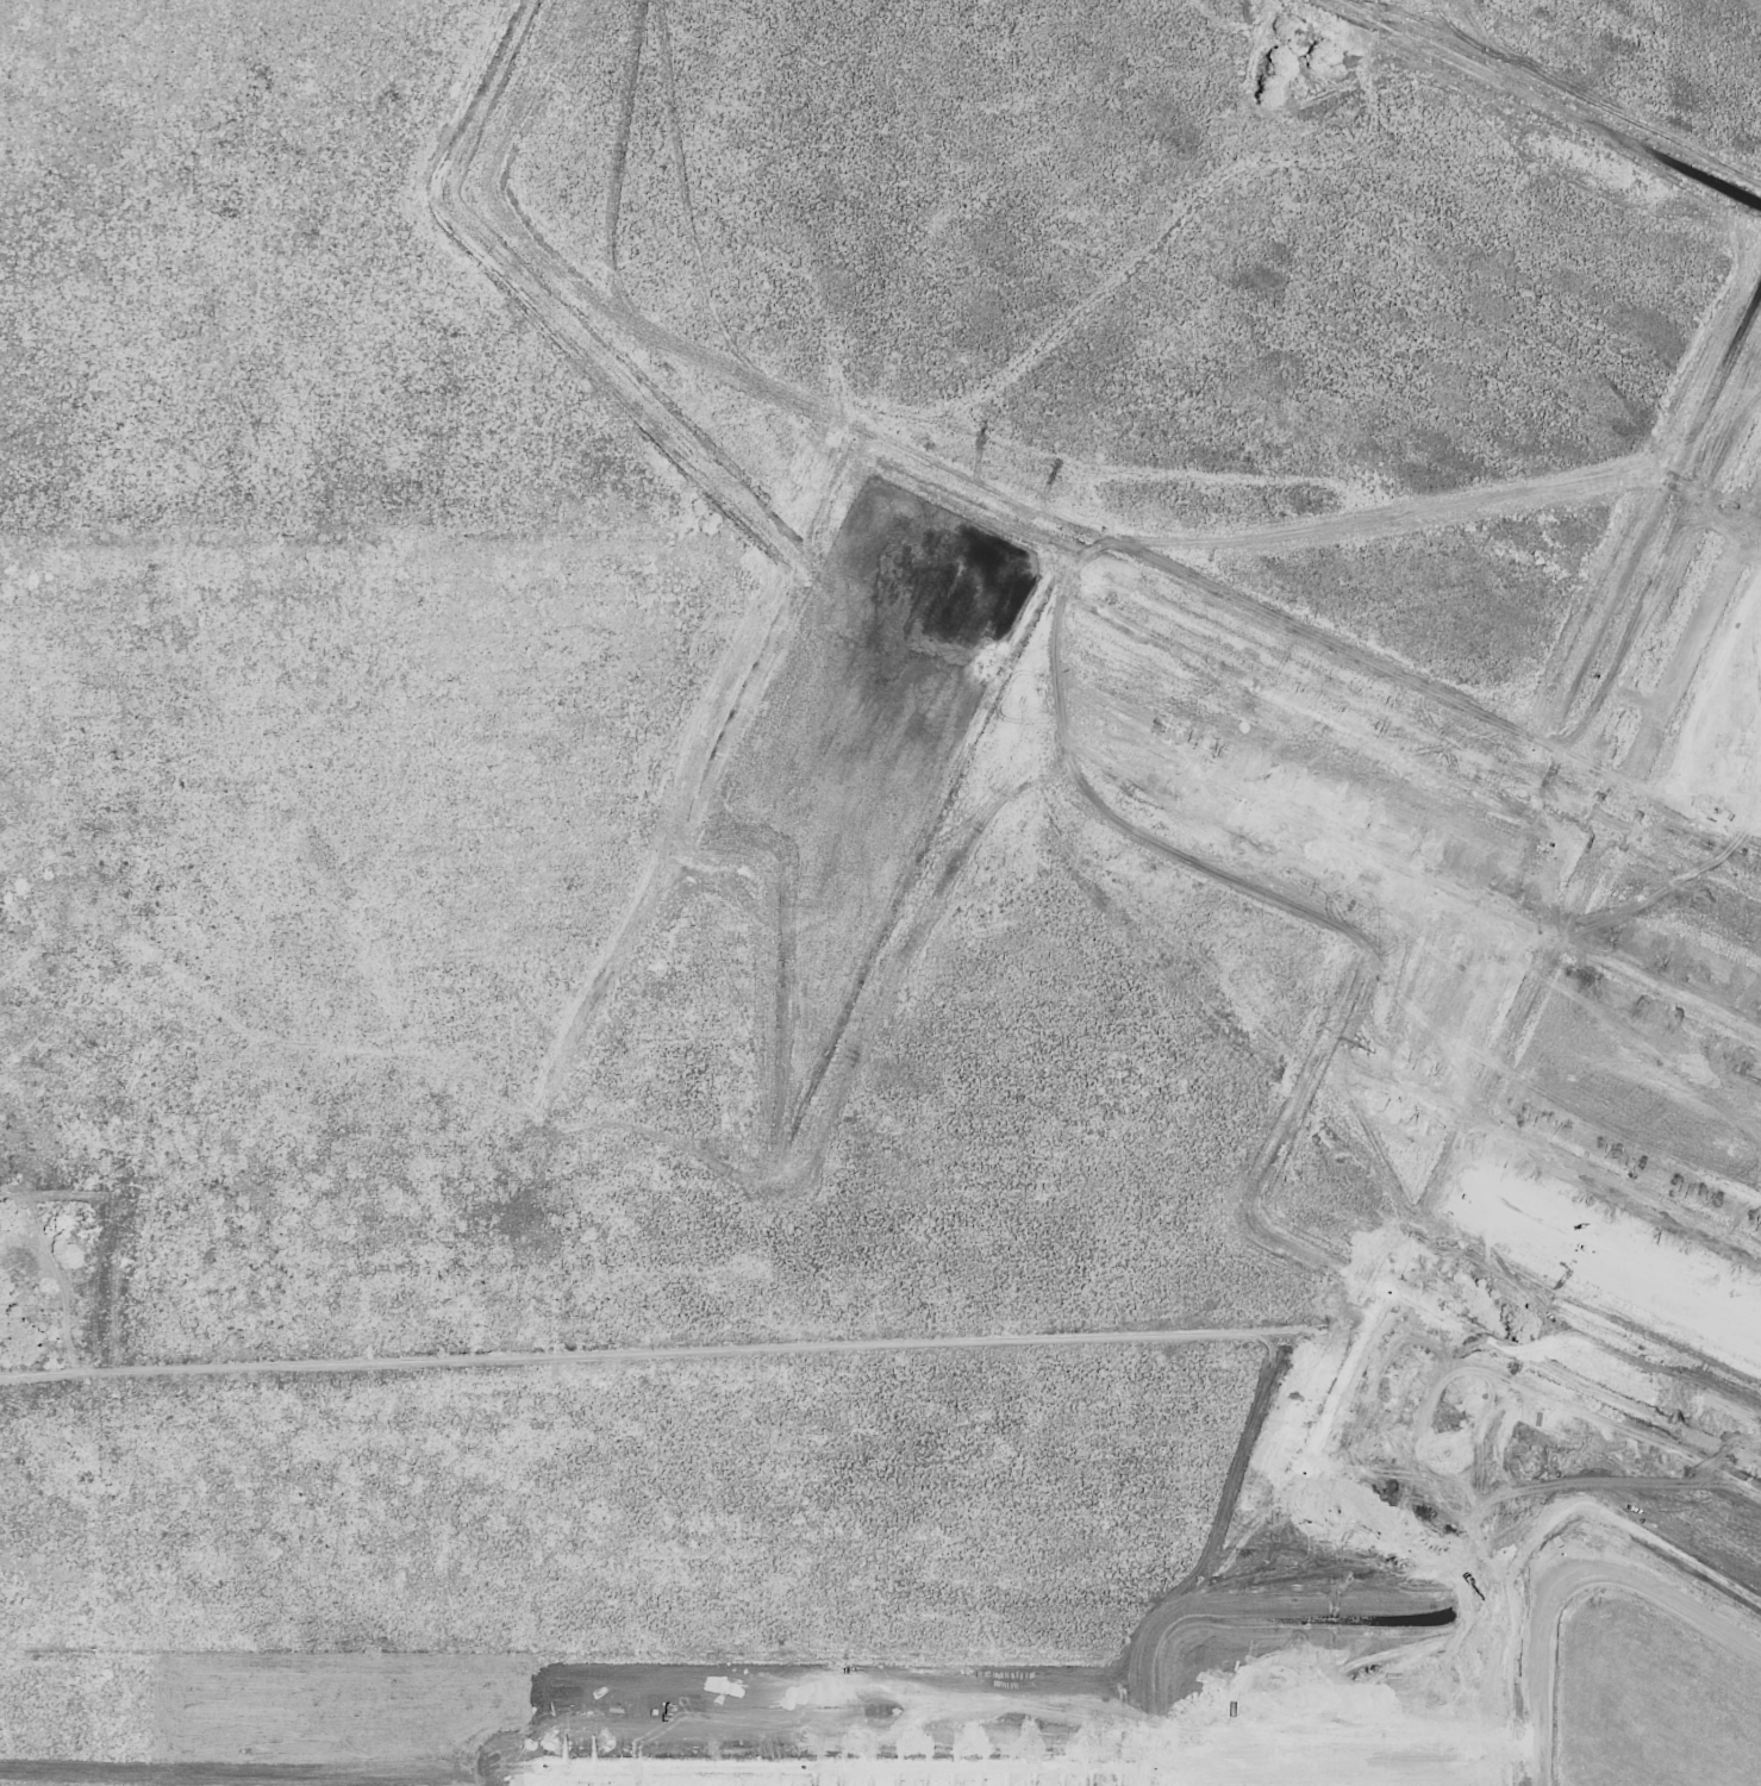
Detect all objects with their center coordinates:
road: (296, 18)
road: (320, 63)
road: (985, 108)
road: (1422, 163)
road: (1295, 321)
road: (1616, 510)
road: (1753, 537)
road: (1603, 829)
road: (1438, 881)
road: (1430, 1099)
road: (1613, 1182)
road: (866, 1231)
road: (462, 1264)
road: (1370, 1316)
road: (1001, 1332)
road: (668, 1347)
road: (1572, 1381)
road: (433, 1511)
road: (567, 1516)
road: (1569, 1580)
road: (1023, 1768)
road: (712, 1776)
road: (1149, 1776)

